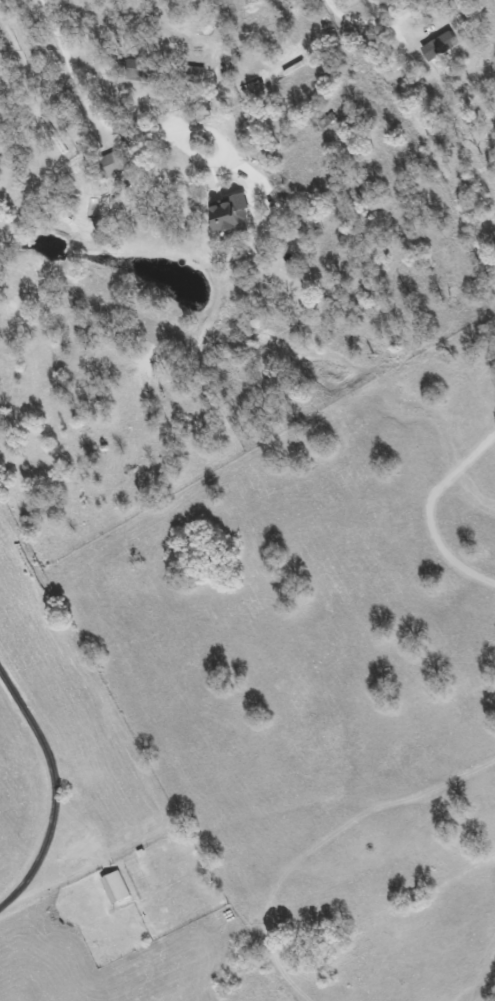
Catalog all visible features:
road: (274, 82)
road: (101, 130)
building: (231, 214)
road: (430, 508)
road: (56, 788)
building: (115, 887)

